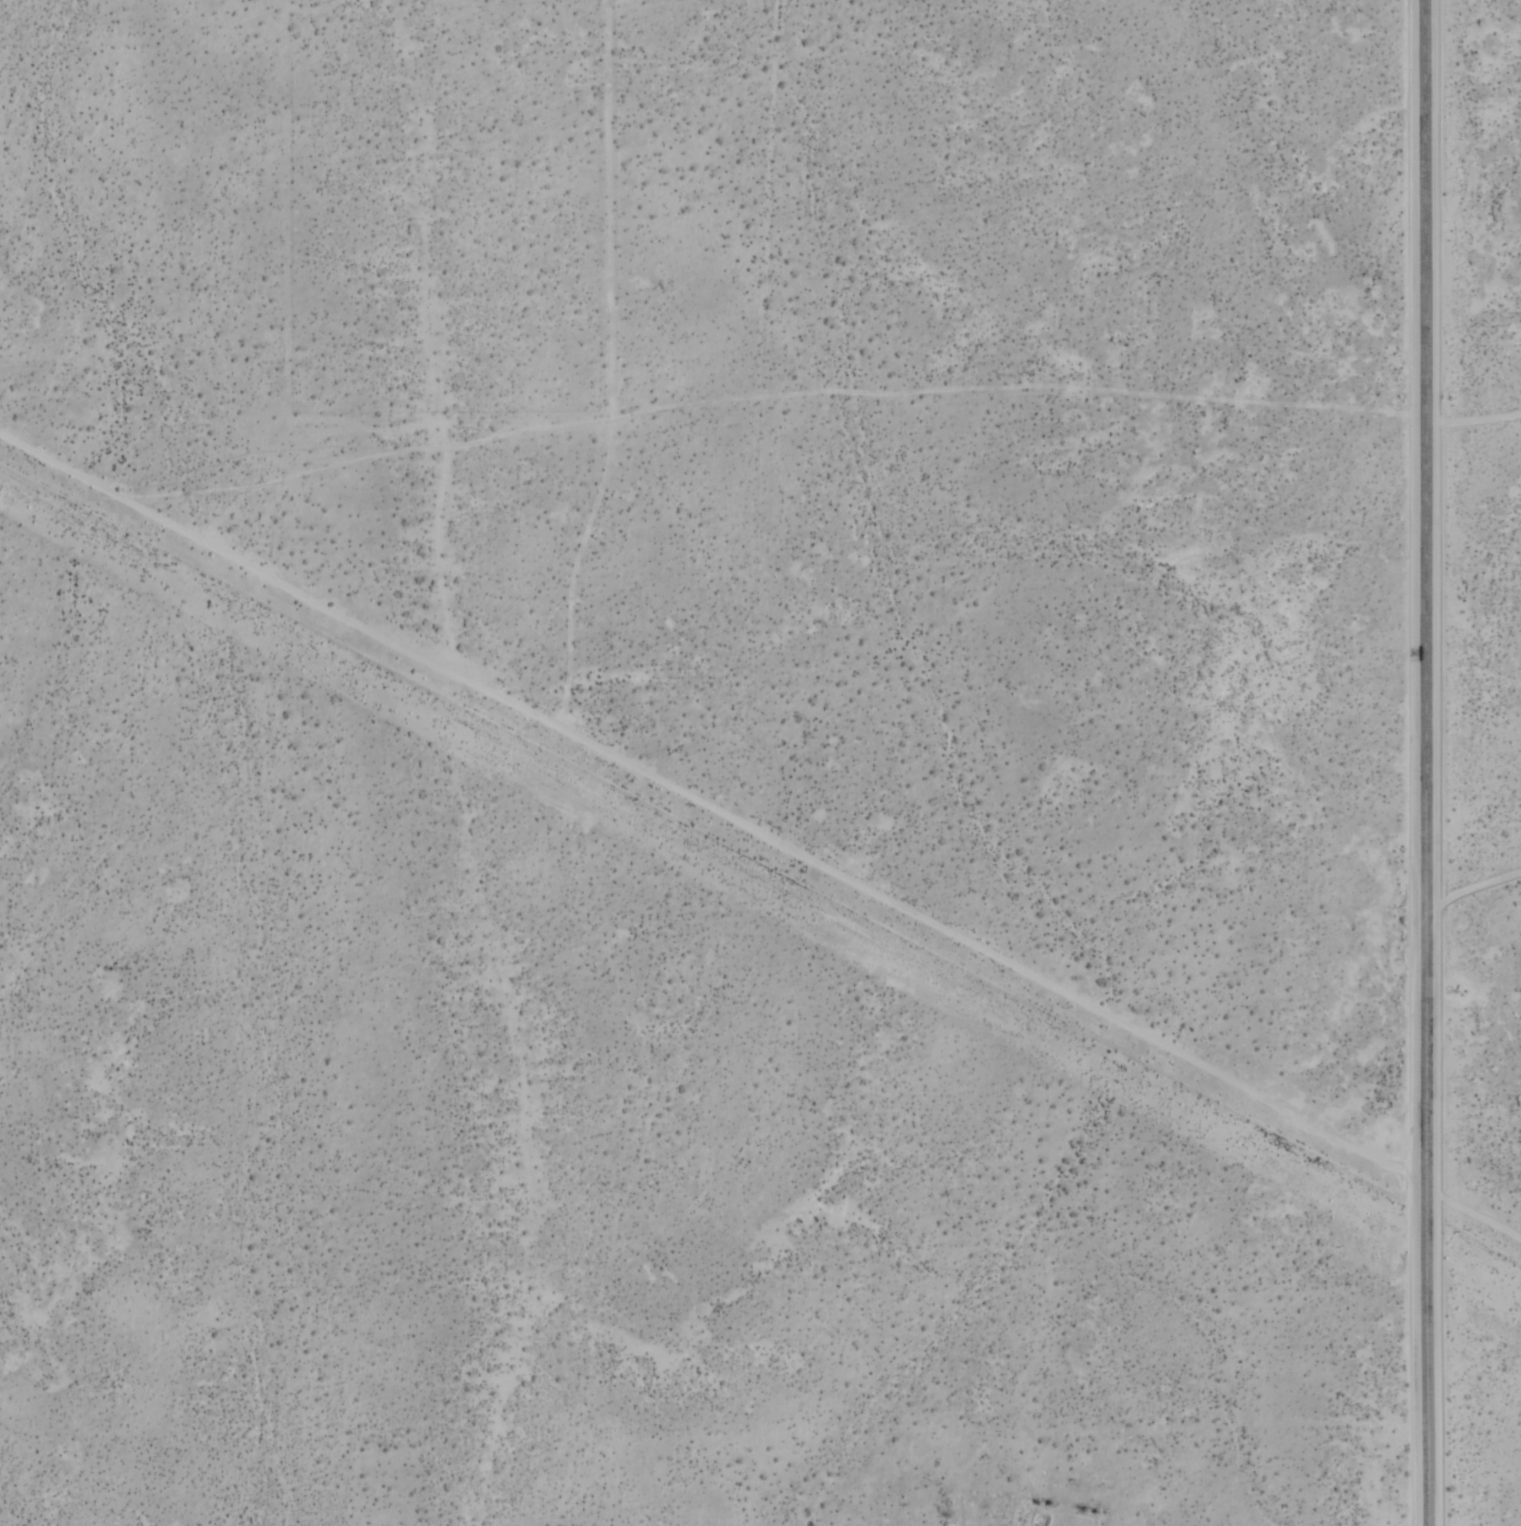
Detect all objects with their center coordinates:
road: (1432, 763)
road: (1477, 1212)

